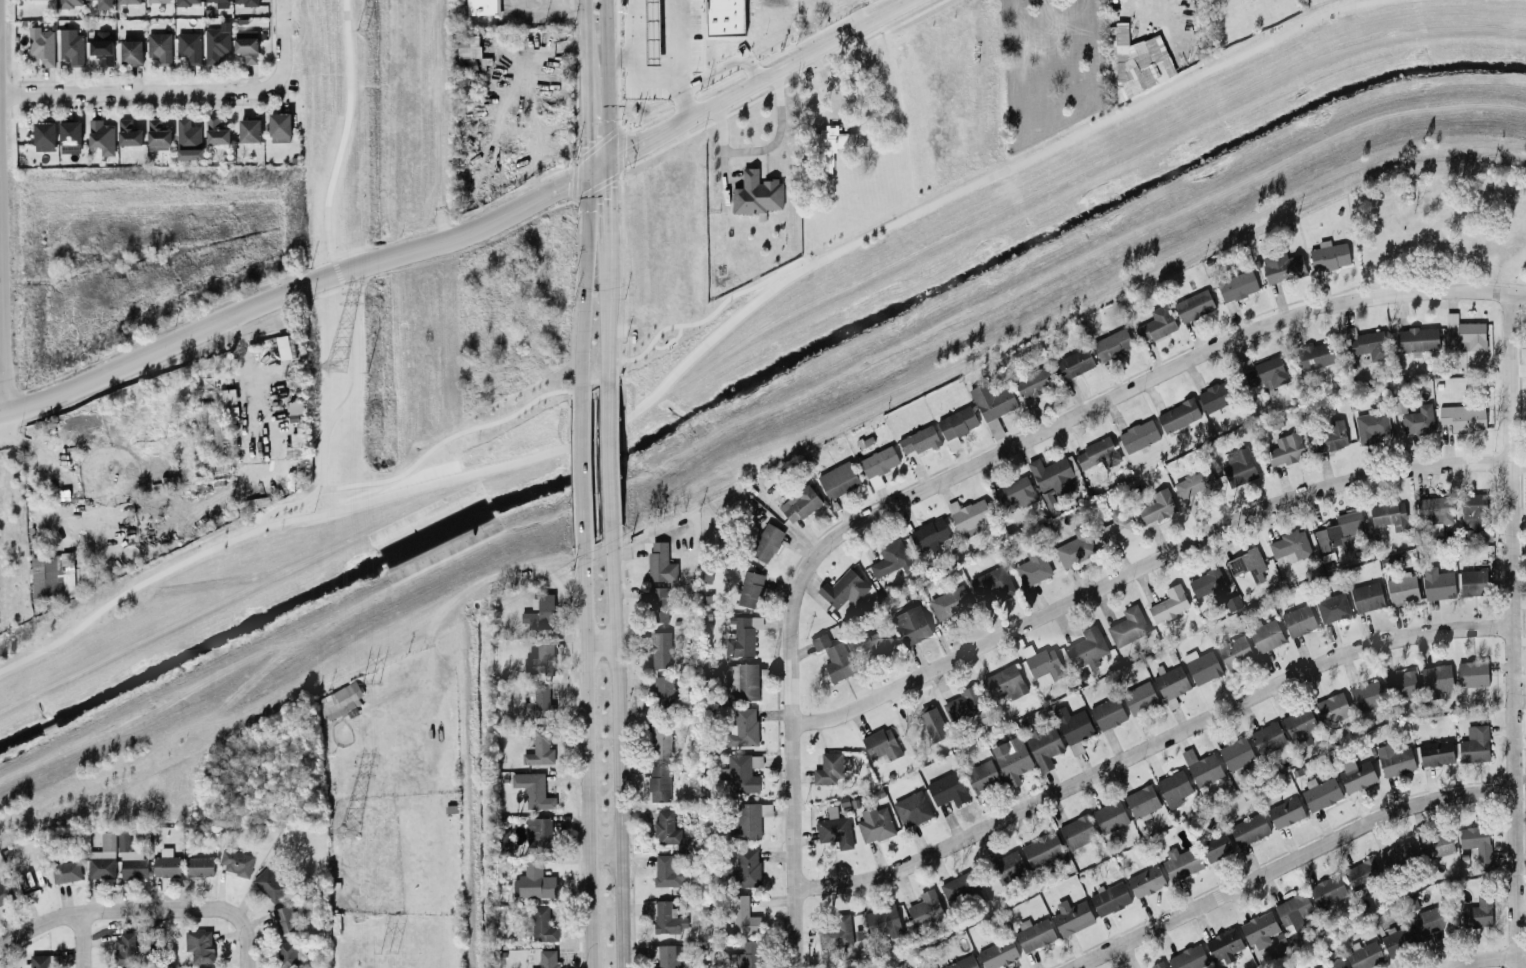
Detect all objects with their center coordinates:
building: (127, 1)
building: (156, 1)
building: (186, 2)
building: (245, 2)
building: (69, 3)
building: (219, 3)
building: (103, 4)
building: (481, 6)
road: (279, 9)
building: (725, 17)
building: (215, 43)
road: (635, 43)
building: (246, 44)
building: (159, 46)
building: (188, 46)
building: (468, 46)
building: (42, 47)
building: (71, 48)
building: (101, 50)
building: (131, 52)
building: (1115, 53)
building: (1143, 73)
road: (696, 78)
road: (169, 90)
road: (681, 102)
building: (278, 126)
building: (249, 129)
building: (215, 130)
road: (777, 132)
building: (128, 133)
building: (157, 133)
building: (44, 136)
building: (70, 136)
building: (101, 136)
building: (188, 139)
road: (718, 141)
building: (829, 145)
traffic signals: (607, 163)
traffic signals: (585, 174)
building: (755, 193)
road: (607, 205)
road: (584, 213)
road: (464, 234)
building: (1328, 255)
building: (1282, 266)
road: (2, 283)
road: (340, 284)
building: (1237, 285)
building: (1193, 304)
road: (713, 310)
building: (1156, 322)
building: (1463, 334)
building: (1417, 338)
road: (668, 341)
building: (1111, 343)
building: (284, 345)
road: (692, 353)
building: (1313, 354)
building: (1073, 362)
power tower: (332, 365)
building: (1265, 373)
building: (1034, 381)
road: (1122, 392)
building: (226, 395)
river: (754, 395)
building: (1216, 395)
building: (991, 399)
building: (294, 407)
building: (1177, 414)
building: (1462, 416)
building: (1417, 420)
building: (957, 422)
building: (1371, 426)
road: (2, 428)
road: (4, 429)
building: (1138, 435)
building: (1330, 436)
building: (218, 437)
building: (919, 440)
building: (295, 443)
road: (437, 443)
building: (1285, 449)
building: (1096, 455)
road: (613, 464)
building: (1237, 466)
building: (1052, 474)
road: (578, 479)
building: (838, 479)
building: (1195, 484)
building: (1015, 494)
building: (799, 503)
building: (1157, 506)
building: (1434, 508)
building: (1473, 509)
building: (970, 515)
building: (1389, 515)
building: (1120, 523)
building: (1339, 529)
building: (928, 533)
building: (766, 542)
building: (1290, 544)
building: (1075, 546)
building: (890, 558)
building: (660, 562)
building: (1246, 562)
road: (1141, 566)
building: (1032, 567)
building: (46, 576)
building: (1207, 582)
building: (1473, 582)
building: (1437, 583)
building: (991, 585)
building: (750, 588)
building: (843, 588)
building: (1402, 588)
building: (1366, 596)
building: (949, 601)
building: (1232, 602)
building: (657, 603)
building: (1168, 603)
building: (1332, 606)
building: (539, 612)
building: (1298, 620)
building: (911, 624)
building: (1127, 625)
road: (1508, 631)
building: (1265, 635)
building: (741, 636)
building: (872, 640)
building: (820, 641)
road: (601, 644)
building: (1087, 647)
building: (660, 648)
building: (1234, 651)
building: (540, 660)
building: (837, 662)
building: (1042, 664)
building: (1201, 665)
building: (1472, 672)
building: (741, 679)
building: (1435, 679)
building: (1004, 682)
building: (1170, 684)
building: (1401, 685)
building: (664, 691)
building: (1366, 695)
building: (1139, 697)
building: (338, 700)
building: (537, 702)
building: (961, 704)
building: (1332, 707)
building: (1107, 712)
building: (921, 721)
building: (1299, 723)
building: (743, 726)
building: (1073, 727)
building: (1267, 737)
building: (660, 739)
road: (617, 742)
building: (881, 743)
building: (1474, 743)
building: (1043, 745)
building: (539, 748)
road: (1147, 748)
road: (584, 749)
building: (1435, 751)
building: (1235, 753)
building: (1011, 758)
building: (1393, 759)
building: (829, 767)
building: (1202, 767)
building: (743, 772)
building: (1356, 774)
building: (982, 775)
building: (658, 782)
building: (1173, 787)
building: (946, 788)
building: (532, 789)
building: (1320, 792)
road: (791, 794)
building: (1141, 800)
building: (911, 809)
building: (1285, 811)
building: (1110, 816)
building: (750, 818)
building: (874, 823)
building: (665, 827)
building: (834, 828)
building: (1248, 828)
power tower: (343, 830)
building: (1077, 831)
building: (538, 834)
building: (1476, 843)
building: (1435, 844)
building: (1215, 846)
building: (1042, 848)
road: (602, 849)
building: (1397, 856)
building: (102, 857)
building: (130, 858)
building: (235, 861)
building: (1180, 862)
road: (1285, 862)
building: (165, 863)
building: (199, 865)
building: (747, 866)
building: (1007, 866)
building: (65, 871)
building: (666, 871)
building: (1362, 872)
building: (1145, 881)
building: (533, 882)
building: (269, 884)
building: (959, 888)
building: (1327, 890)
building: (5, 893)
building: (1108, 898)
building: (925, 908)
road: (140, 909)
building: (1292, 911)
building: (1477, 912)
building: (743, 915)
building: (1071, 916)
building: (666, 917)
building: (285, 918)
building: (1433, 919)
building: (882, 922)
building: (541, 923)
building: (1259, 929)
building: (836, 931)
building: (1033, 933)
road: (82, 939)
building: (1398, 939)
building: (1223, 944)
building: (198, 945)
building: (127, 947)
building: (997, 953)
building: (287, 954)
building: (748, 954)
building: (664, 955)
building: (1364, 955)
building: (1188, 957)
building: (547, 958)
road: (1485, 959)
building: (43, 960)
building: (961, 962)
road: (246, 964)
building: (1157, 964)
building: (1332, 964)

